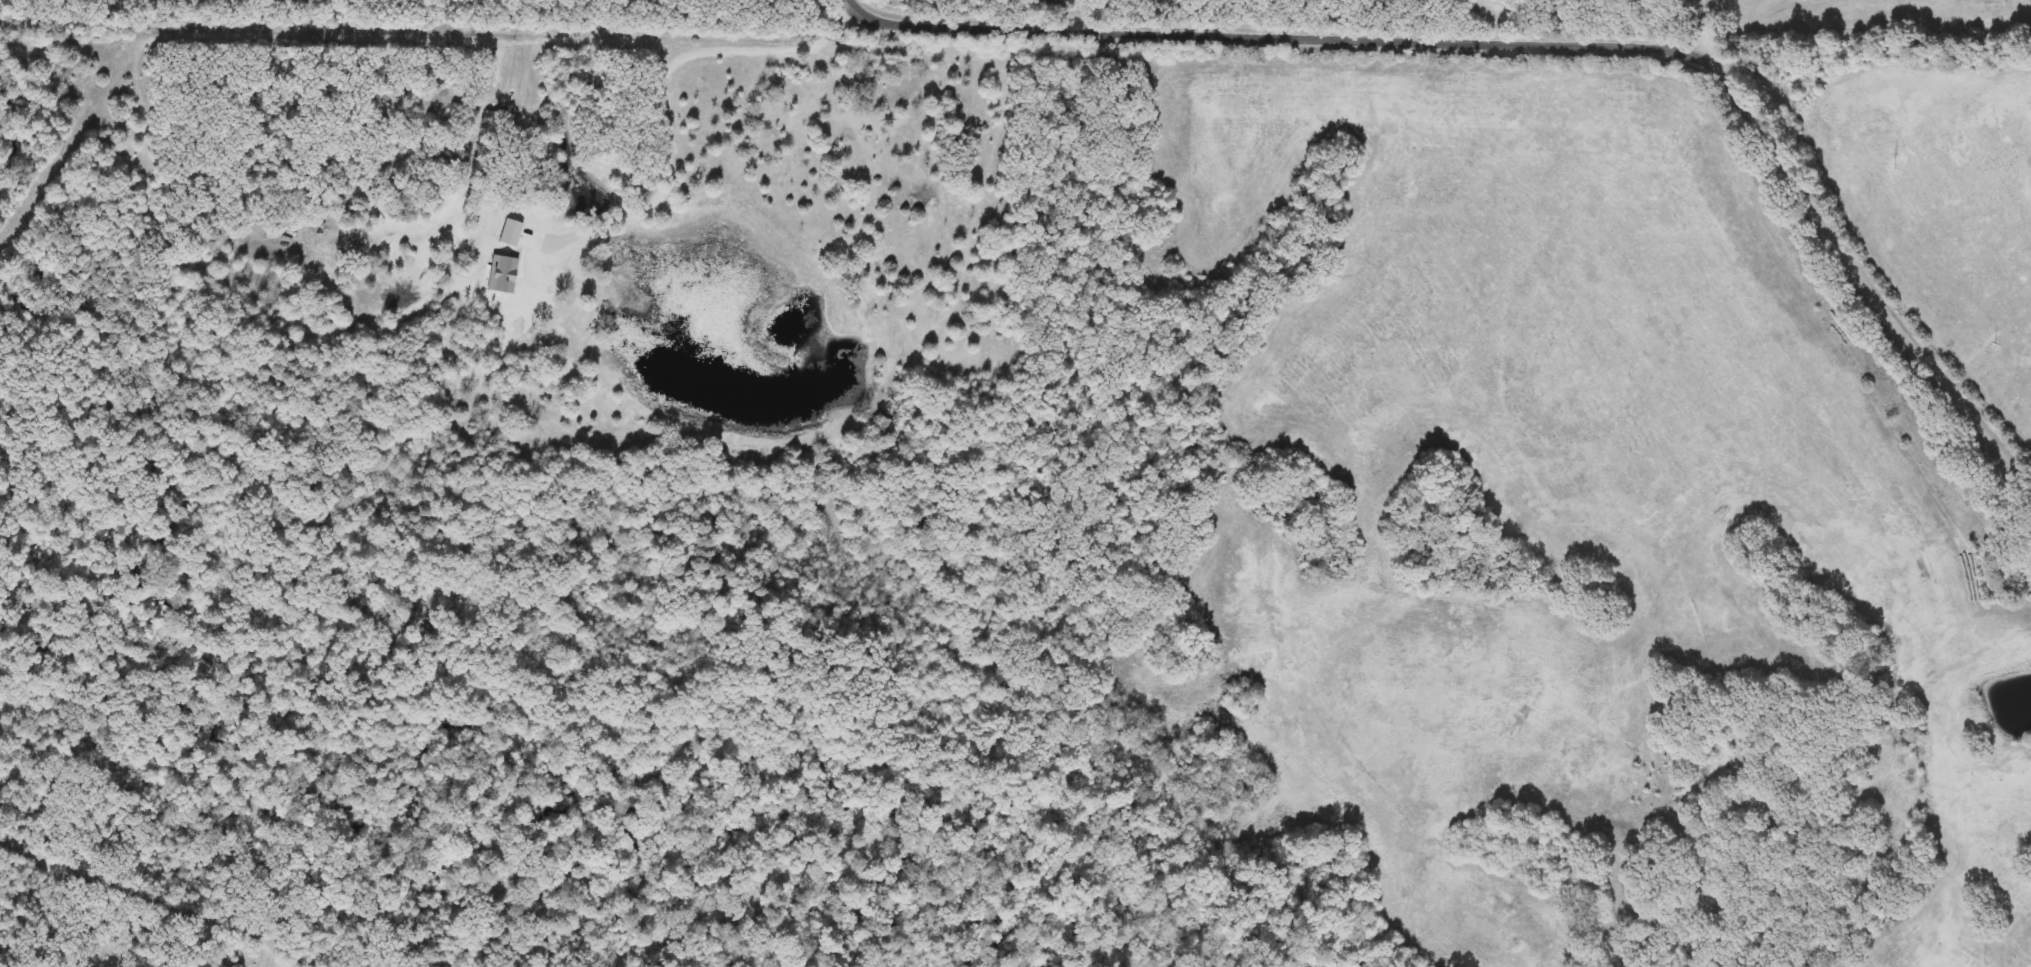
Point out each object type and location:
road: (1710, 29)
road: (1543, 42)
road: (669, 93)
building: (557, 319)
building: (1725, 757)

